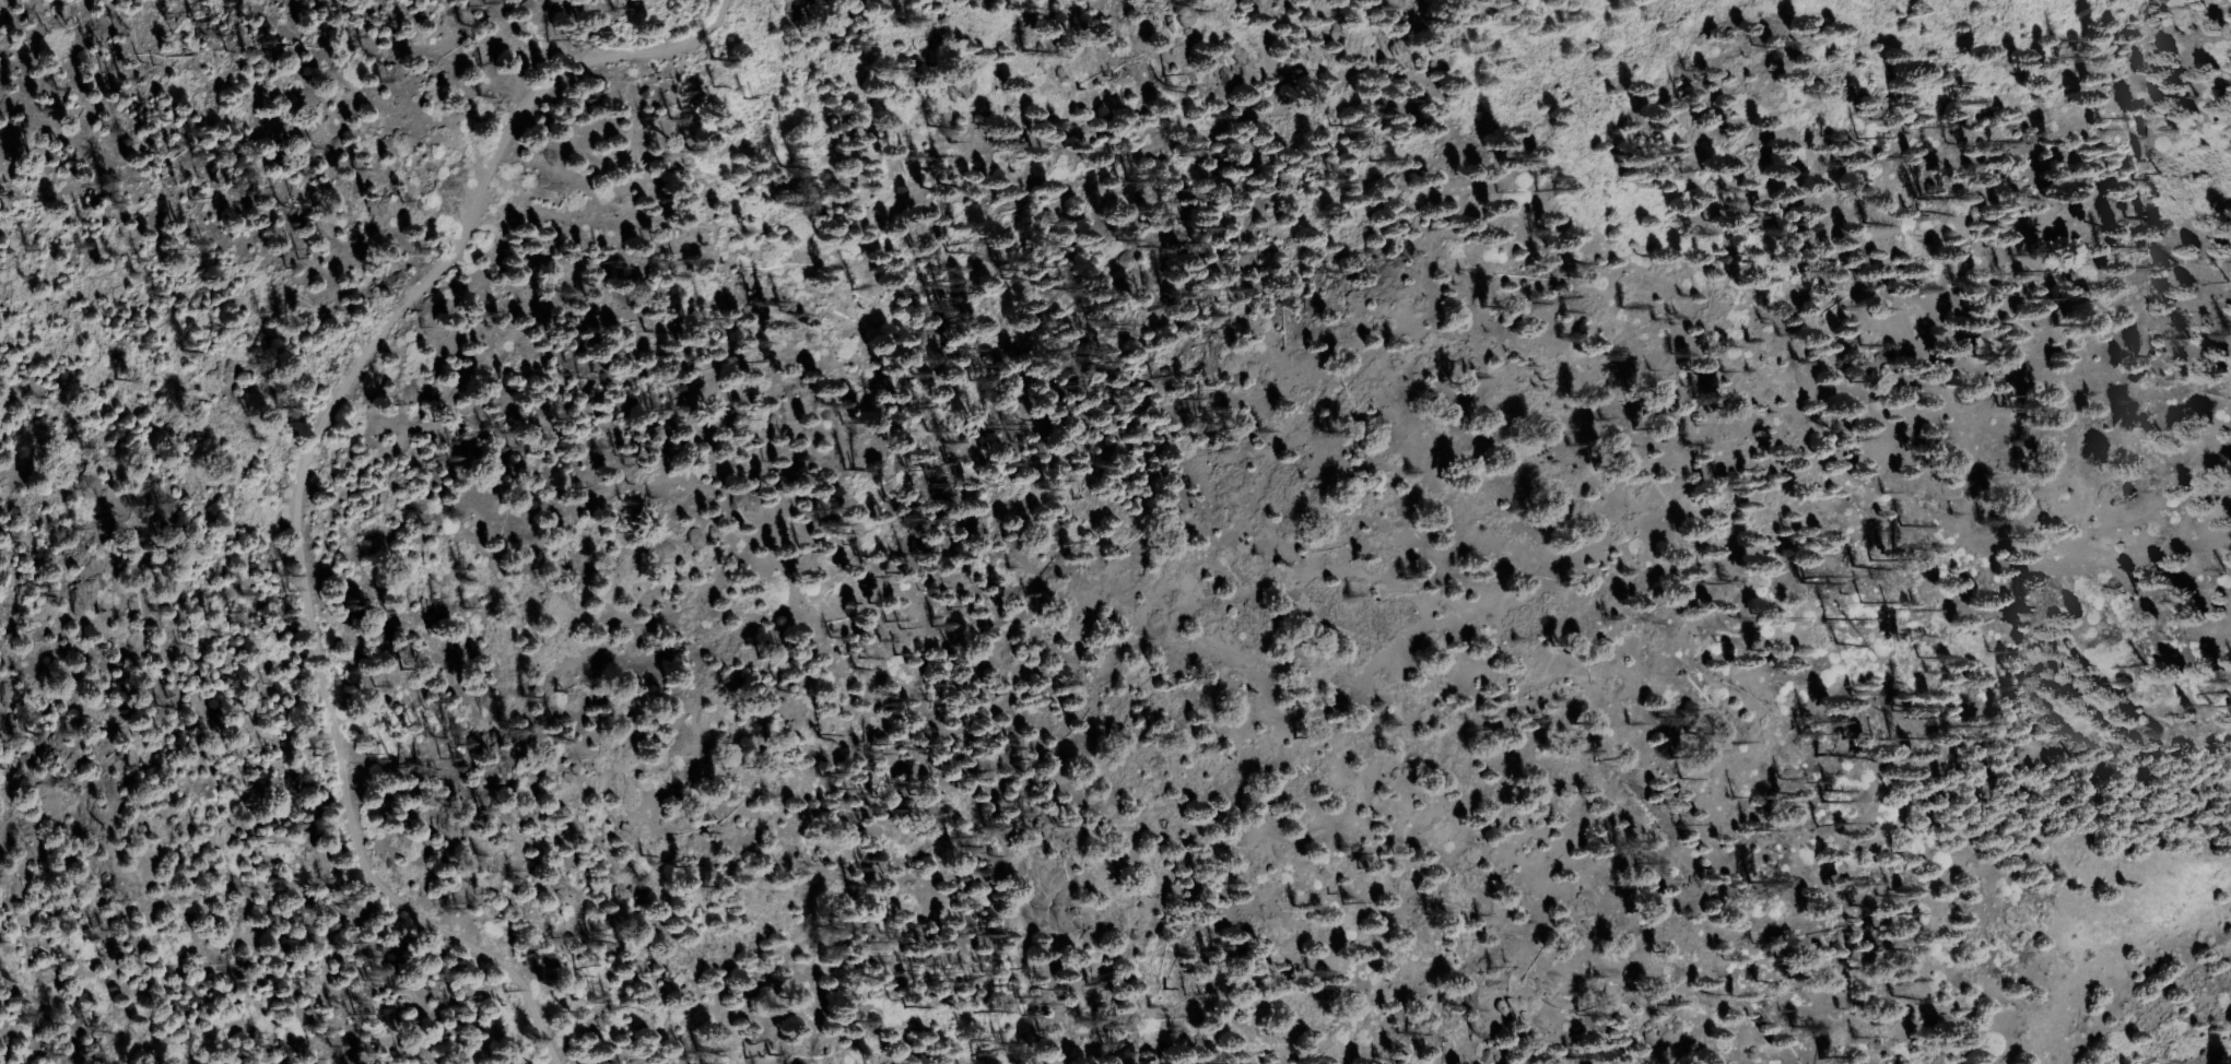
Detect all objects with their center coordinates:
road: (302, 480)

